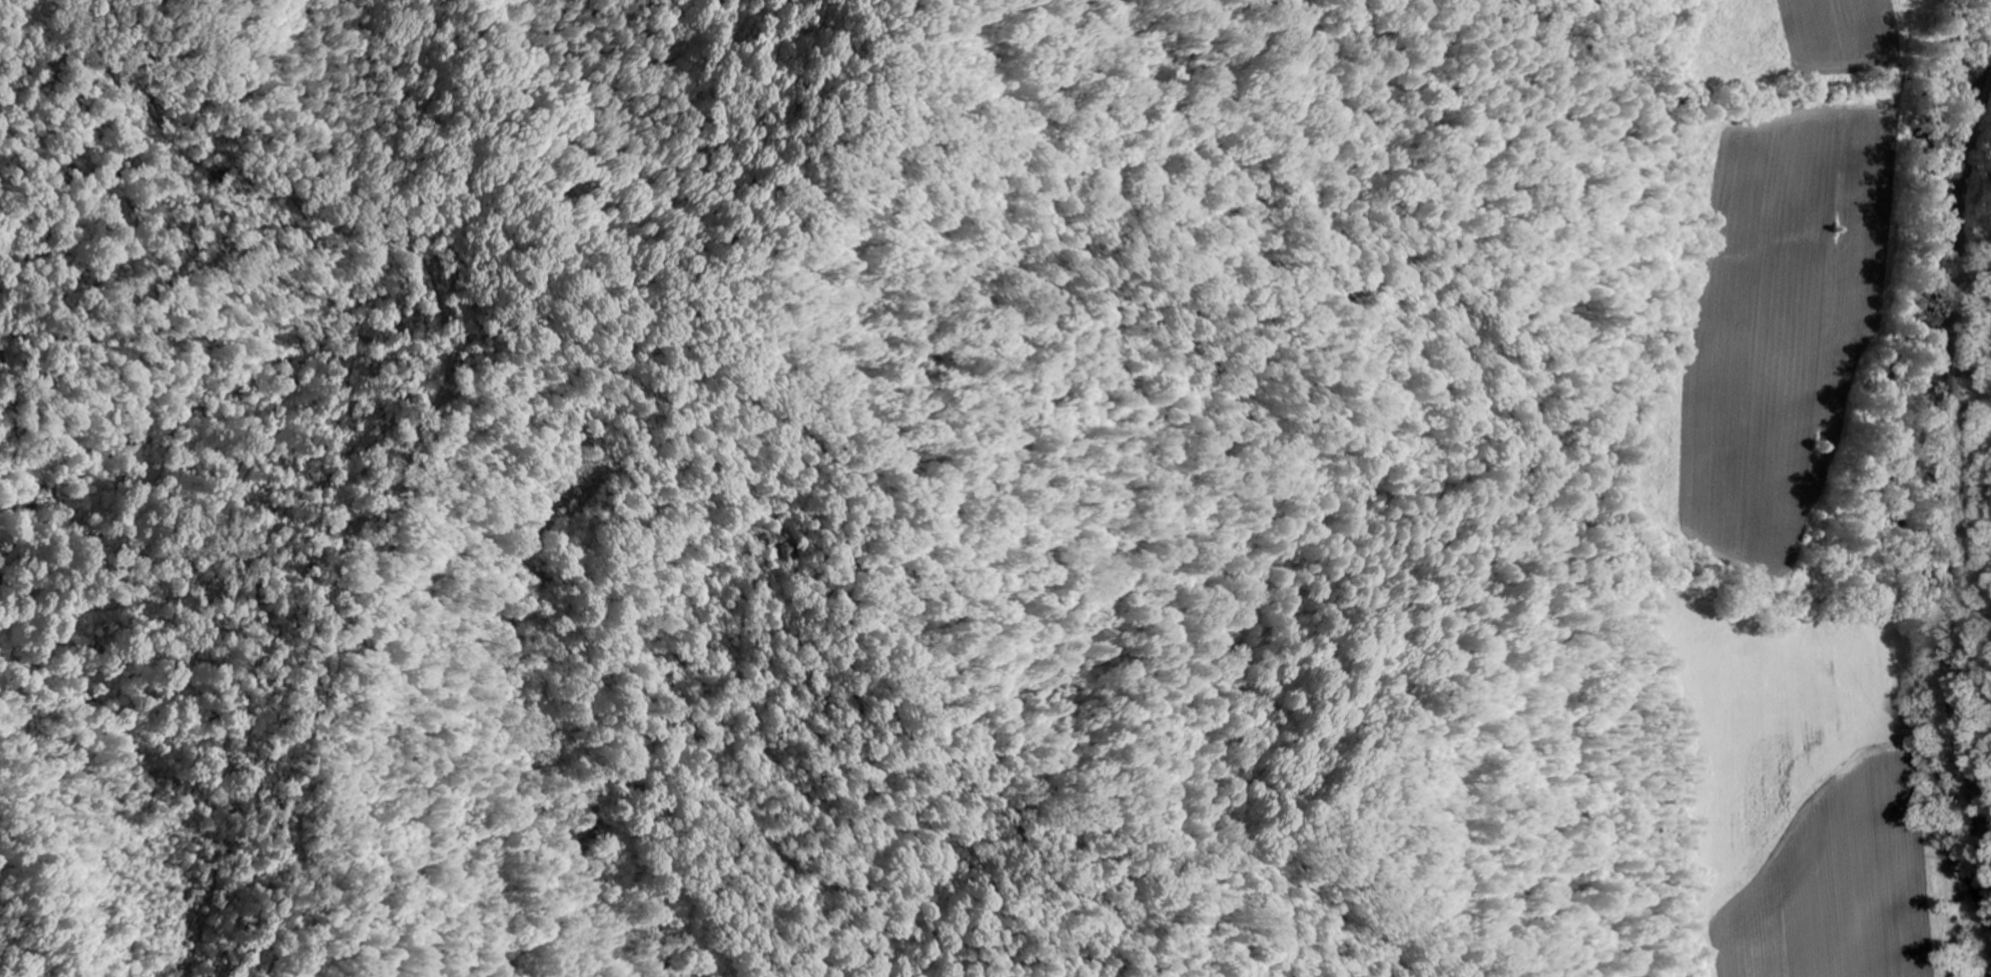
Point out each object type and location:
road: (1952, 435)

